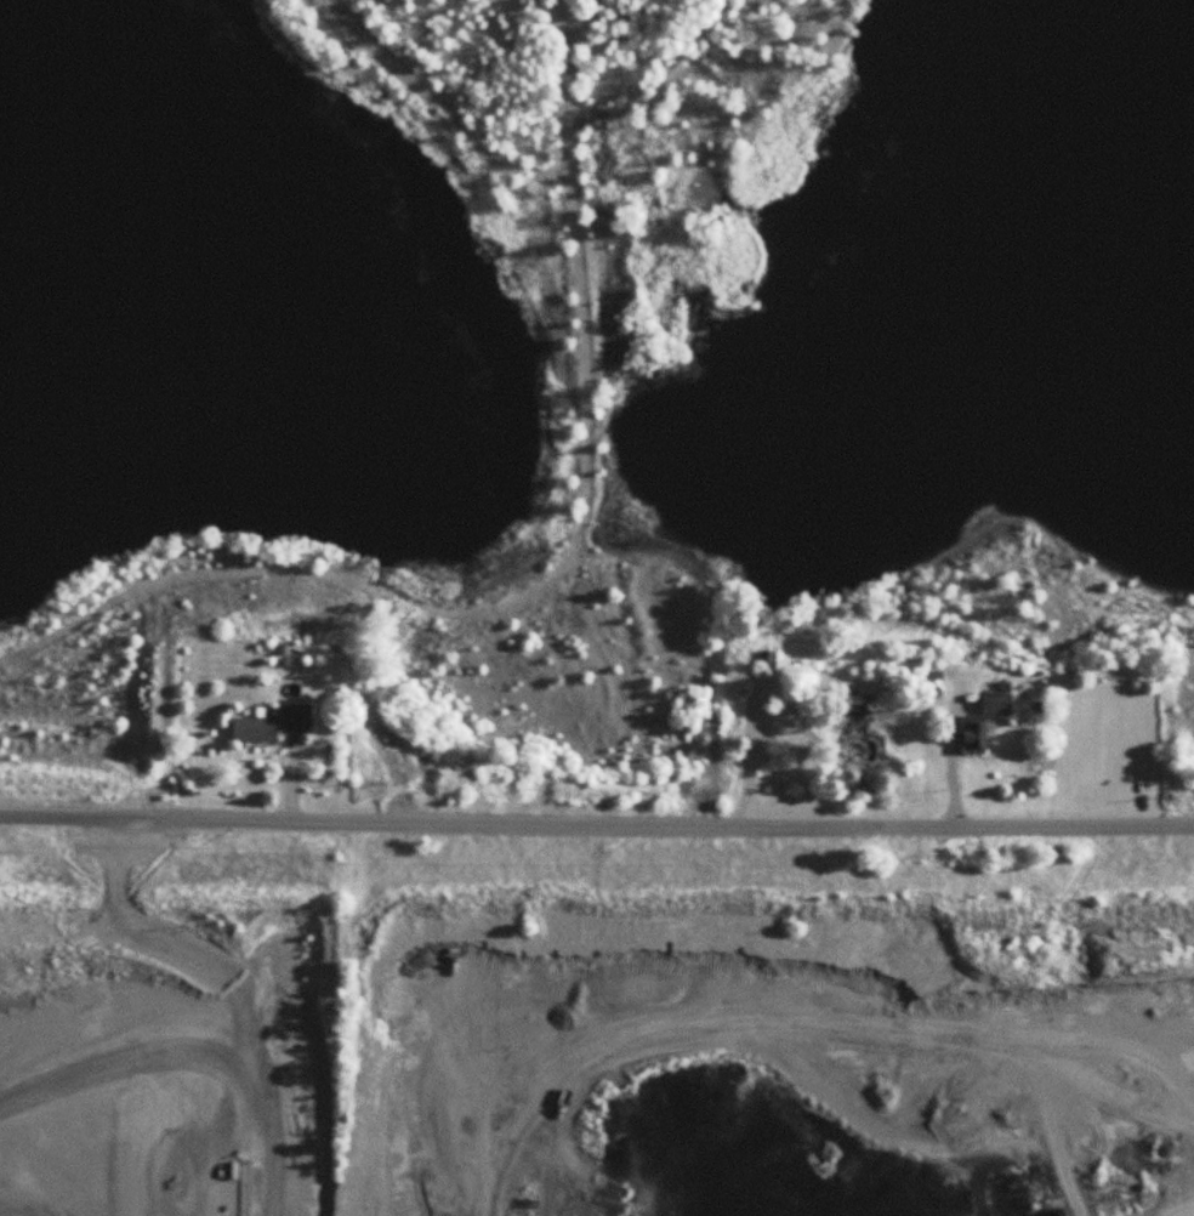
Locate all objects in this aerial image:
building: (768, 661)
building: (298, 717)
building: (984, 721)
building: (255, 728)
building: (859, 735)
road: (596, 822)

